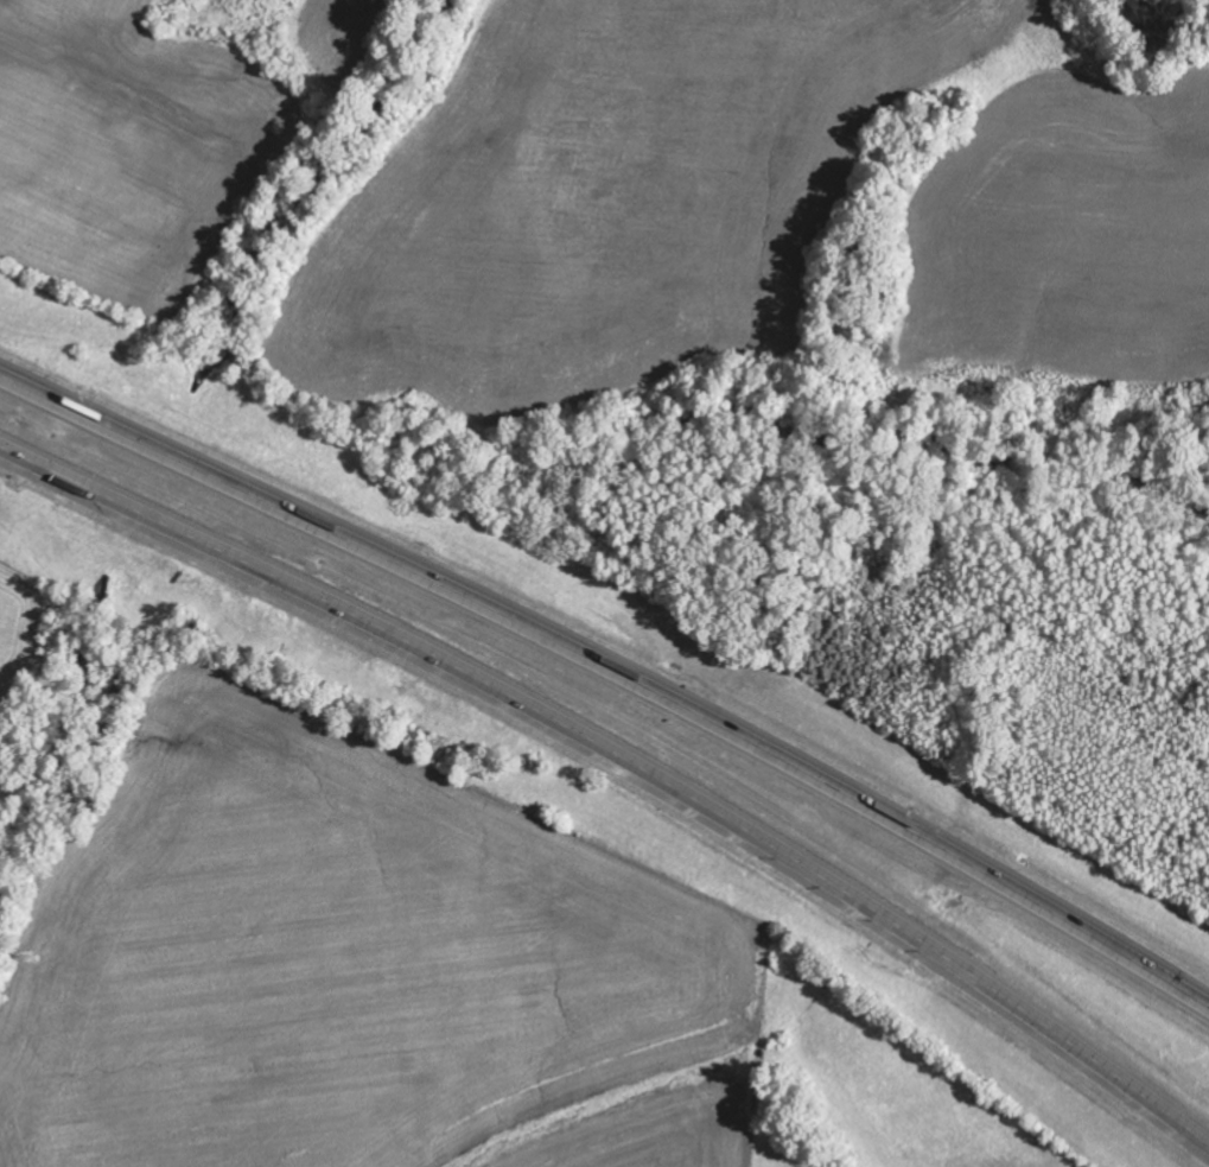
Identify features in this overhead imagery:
road: (615, 673)
road: (625, 760)

